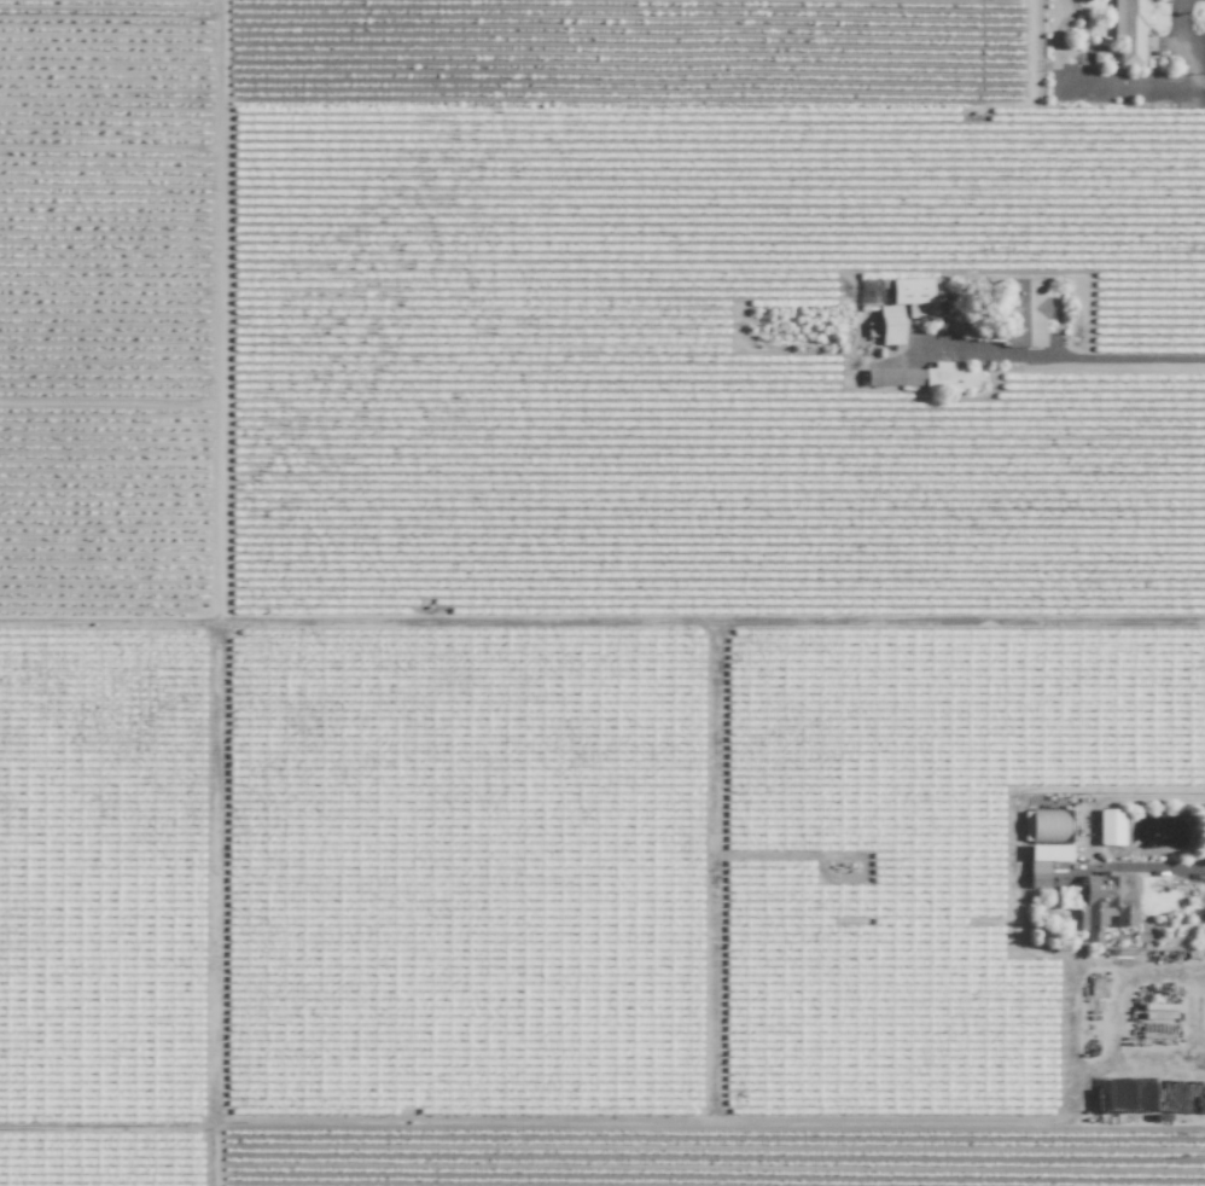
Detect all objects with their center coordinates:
building: (1130, 30)
building: (937, 289)
building: (914, 296)
building: (887, 326)
road: (1064, 357)
building: (926, 378)
building: (1046, 826)
building: (1110, 826)
road: (1088, 836)
building: (1038, 874)
building: (1104, 902)

